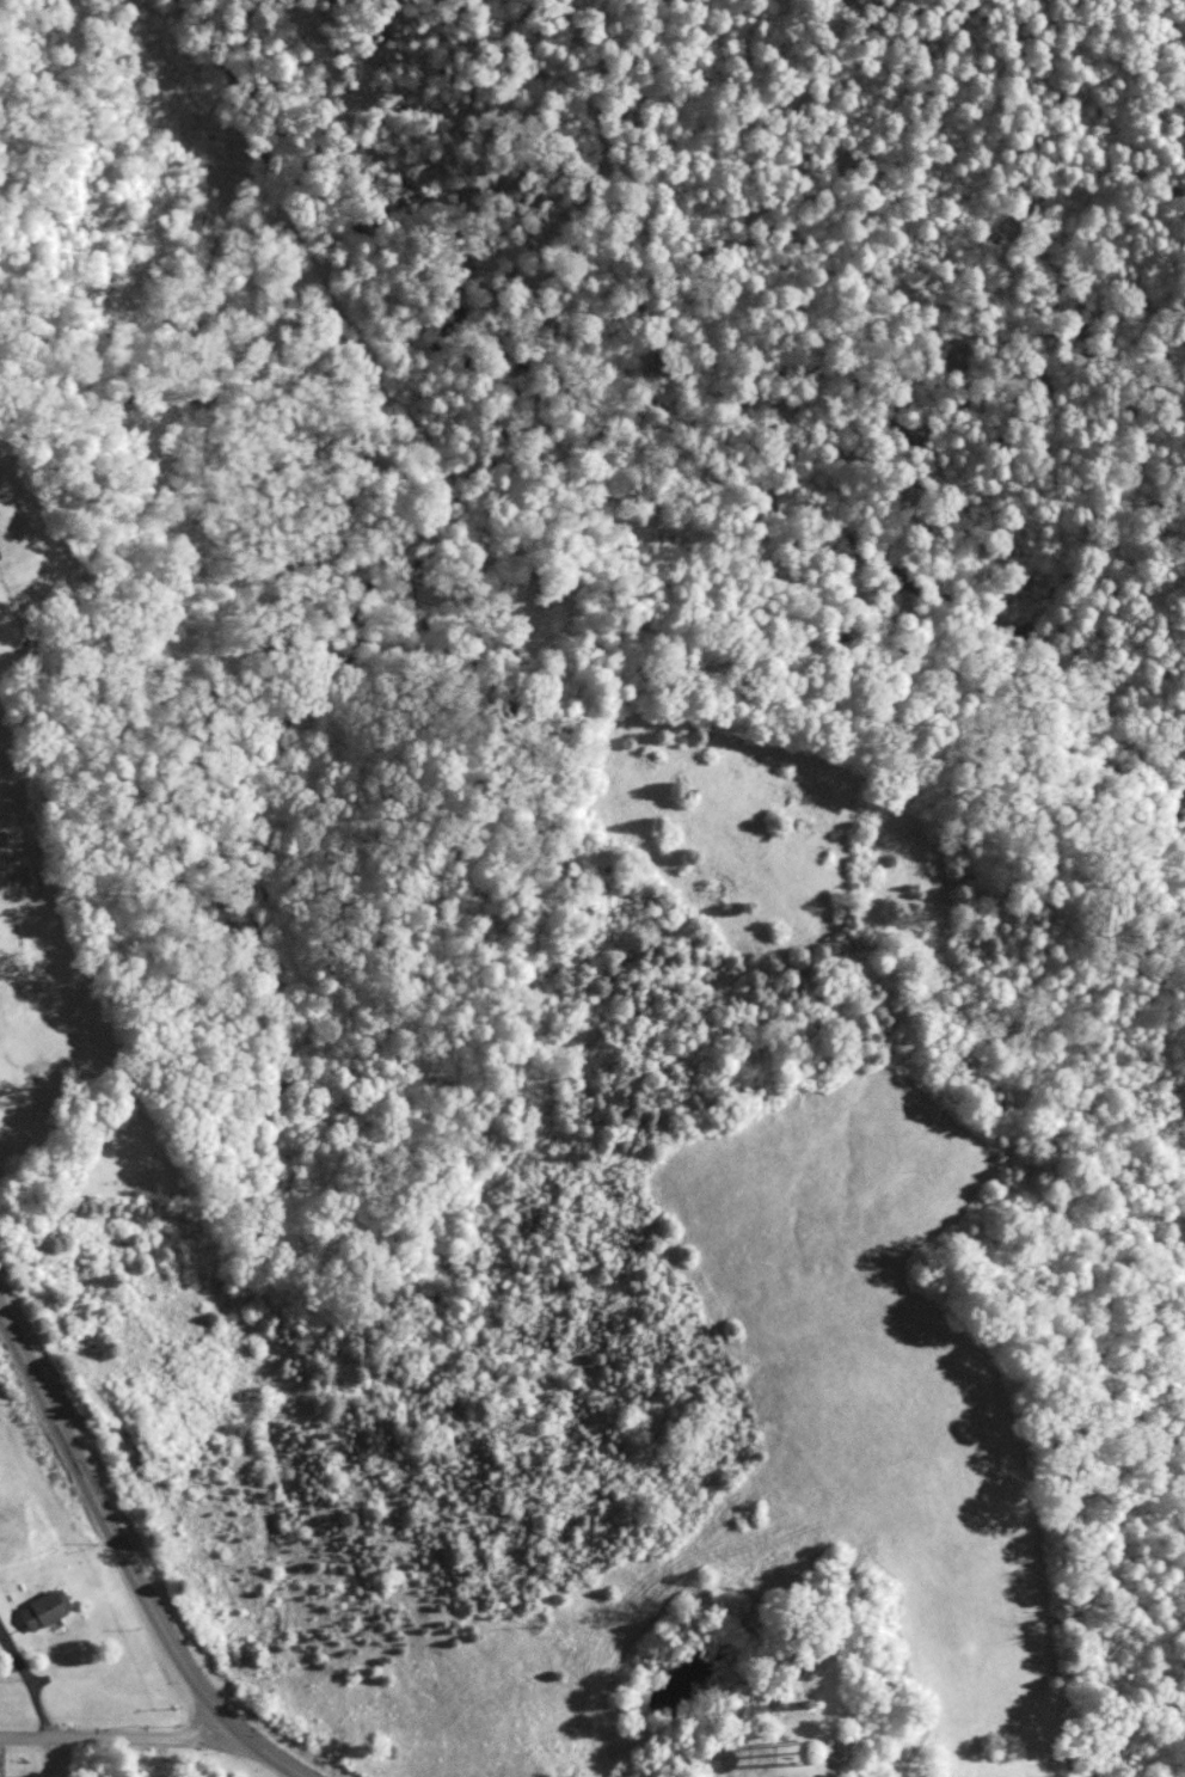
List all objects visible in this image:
building: (1, 930)
road: (113, 1516)
building: (44, 1610)
road: (24, 1687)
road: (113, 1735)
water tower: (792, 1754)
road: (159, 1755)
road: (269, 1757)
road: (307, 1776)

